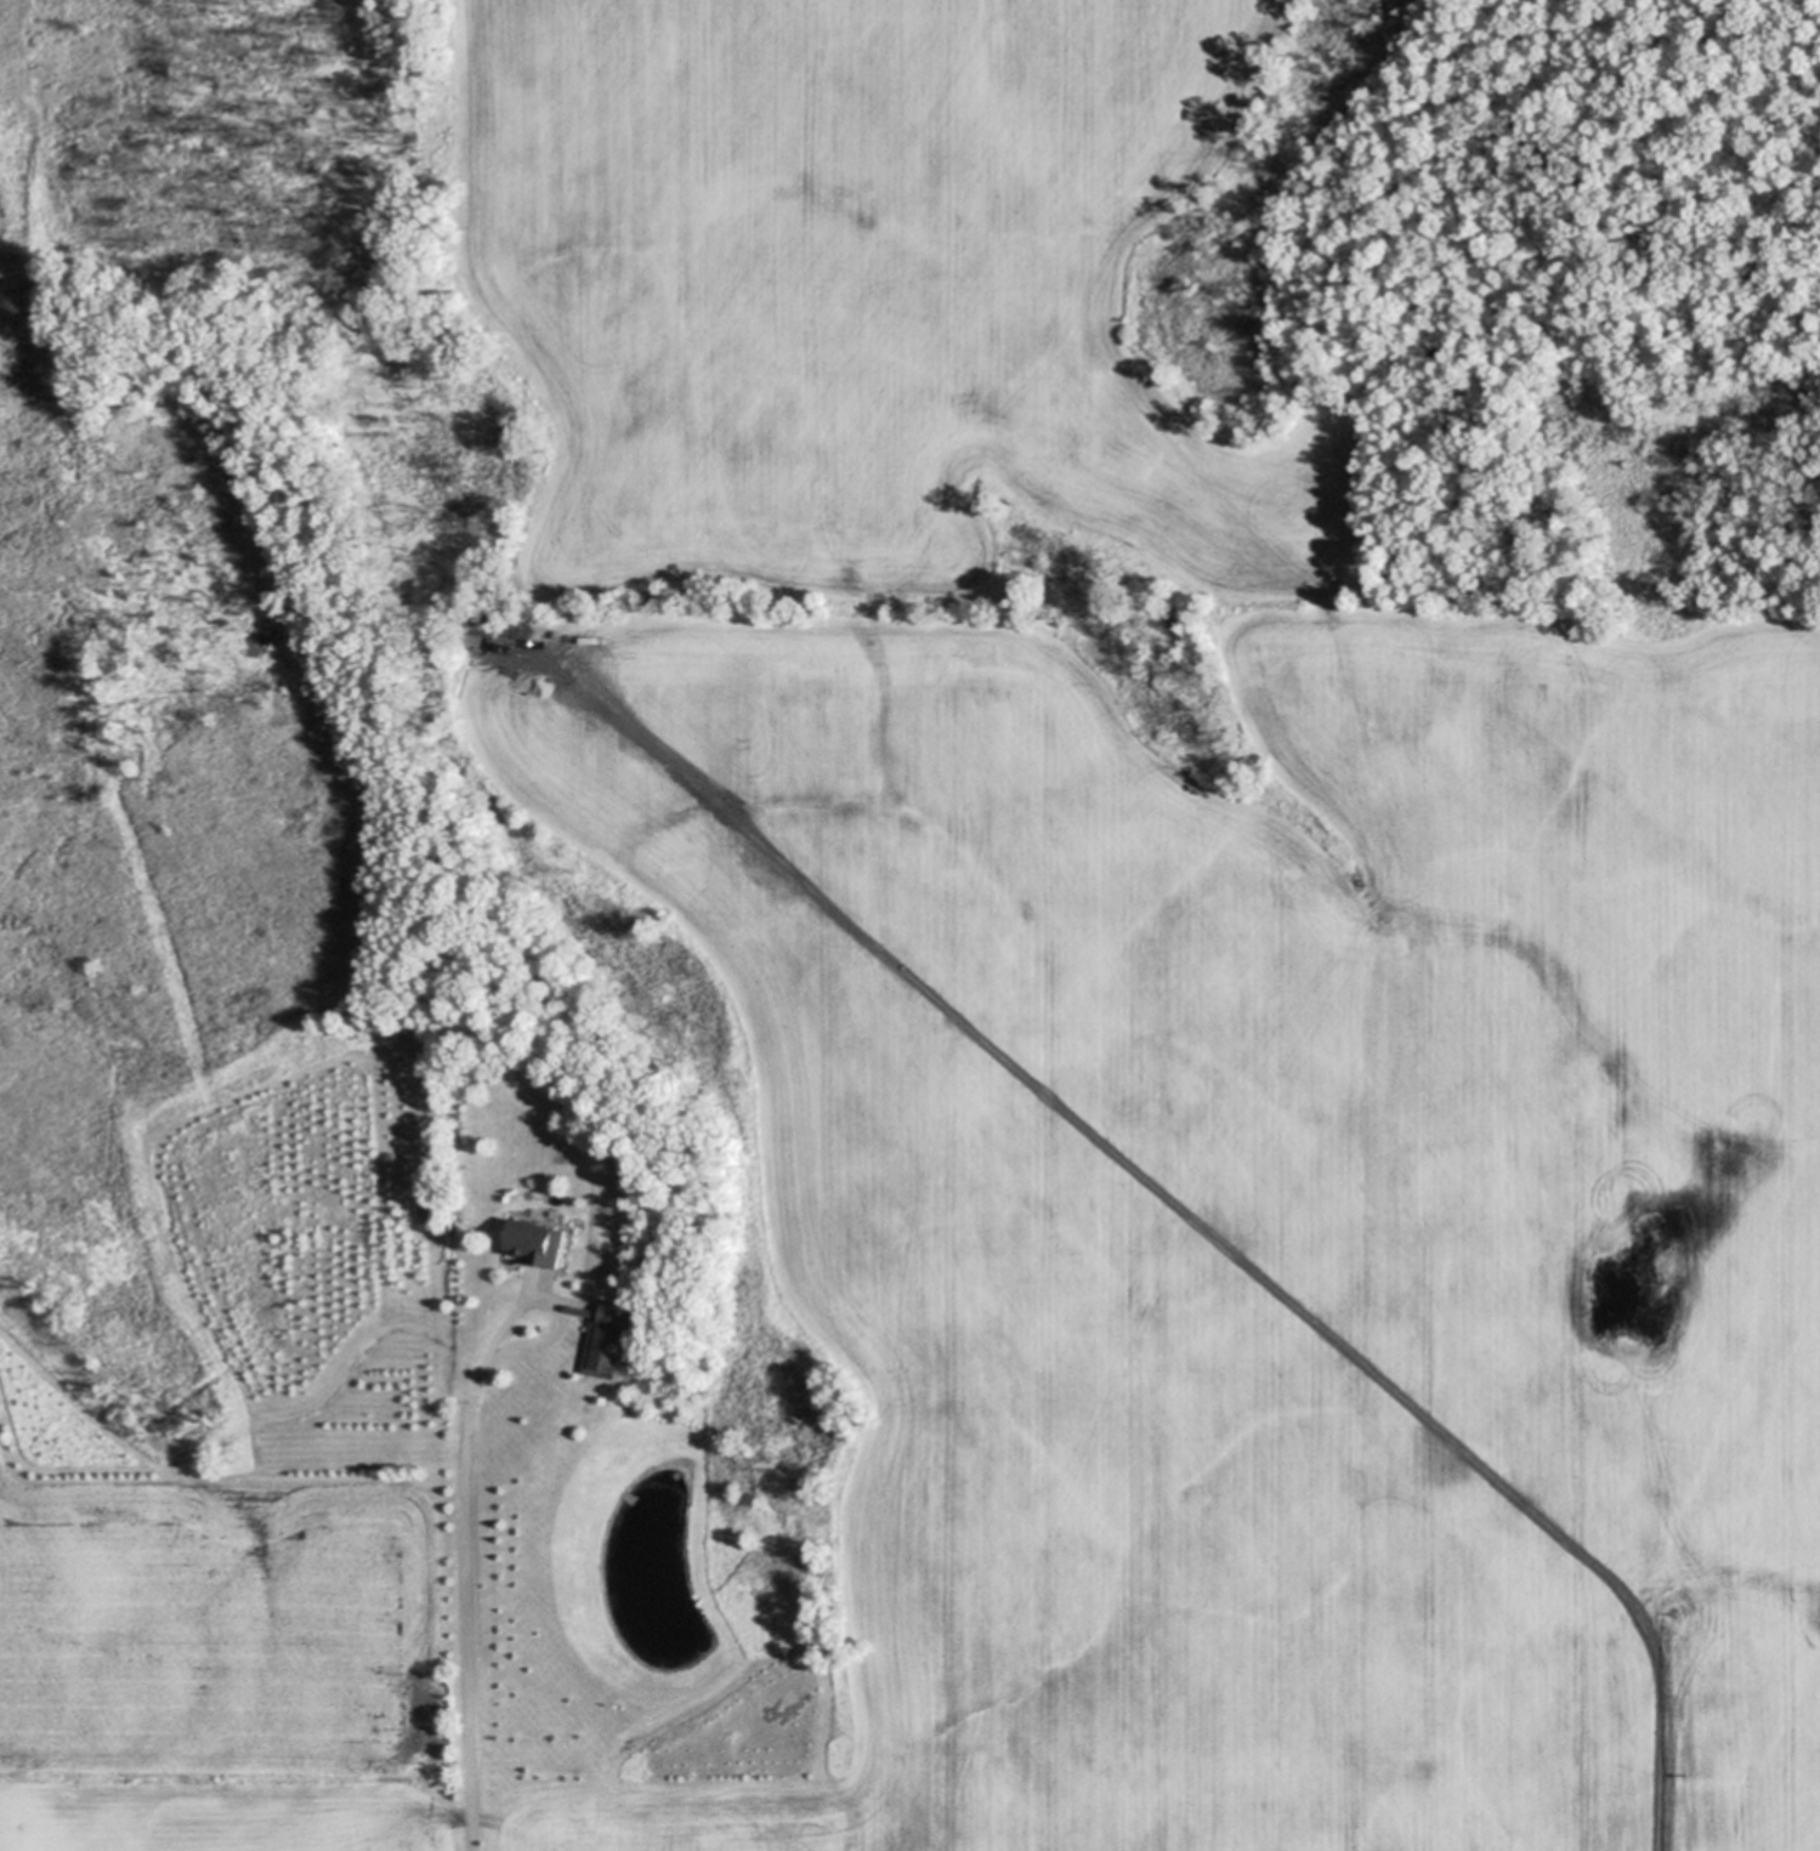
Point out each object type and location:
building: (548, 1243)
road: (555, 1307)
building: (603, 1339)
building: (622, 1340)
road: (472, 1601)

